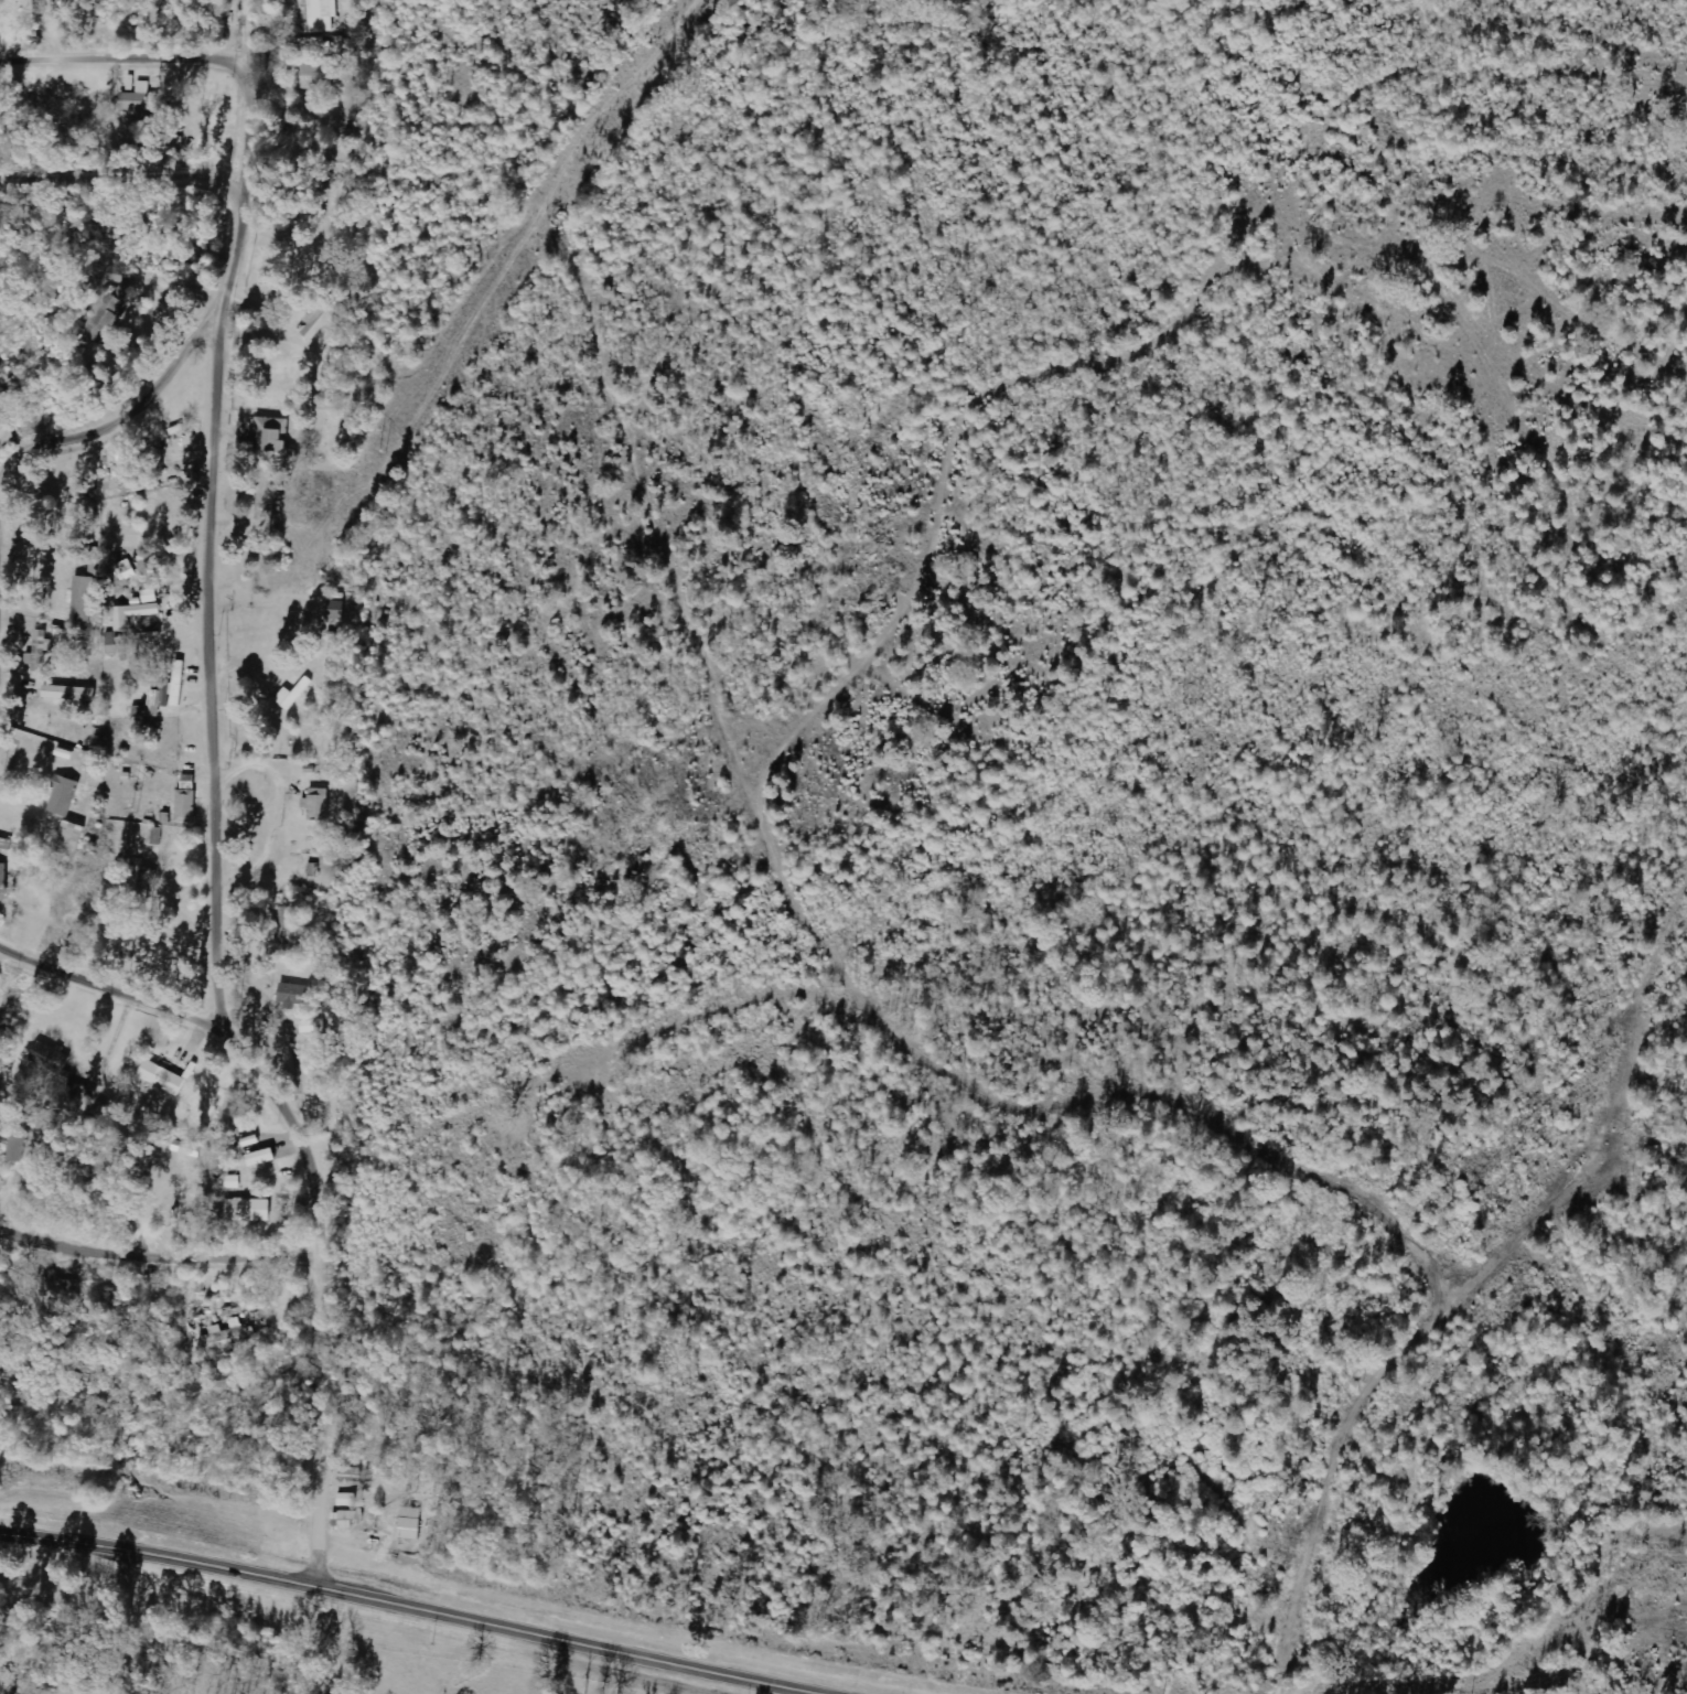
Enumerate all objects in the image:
building: (323, 15)
road: (189, 63)
building: (138, 103)
power tower: (600, 148)
road: (128, 183)
road: (250, 243)
building: (322, 320)
road: (1253, 428)
building: (275, 432)
power tower: (385, 454)
road: (20, 478)
building: (76, 512)
building: (127, 570)
building: (148, 598)
building: (337, 610)
building: (135, 614)
building: (114, 643)
building: (42, 650)
road: (223, 793)
building: (65, 796)
building: (189, 801)
building: (319, 803)
power tower: (136, 814)
building: (159, 836)
building: (71, 838)
building: (3, 881)
road: (121, 990)
building: (293, 996)
building: (314, 1027)
building: (163, 1077)
building: (21, 1147)
building: (262, 1158)
building: (234, 1182)
road: (1168, 1188)
building: (249, 1210)
road: (1533, 1252)
road: (163, 1261)
building: (228, 1333)
road: (330, 1423)
building: (348, 1500)
building: (346, 1519)
building: (411, 1523)
road: (430, 1605)

